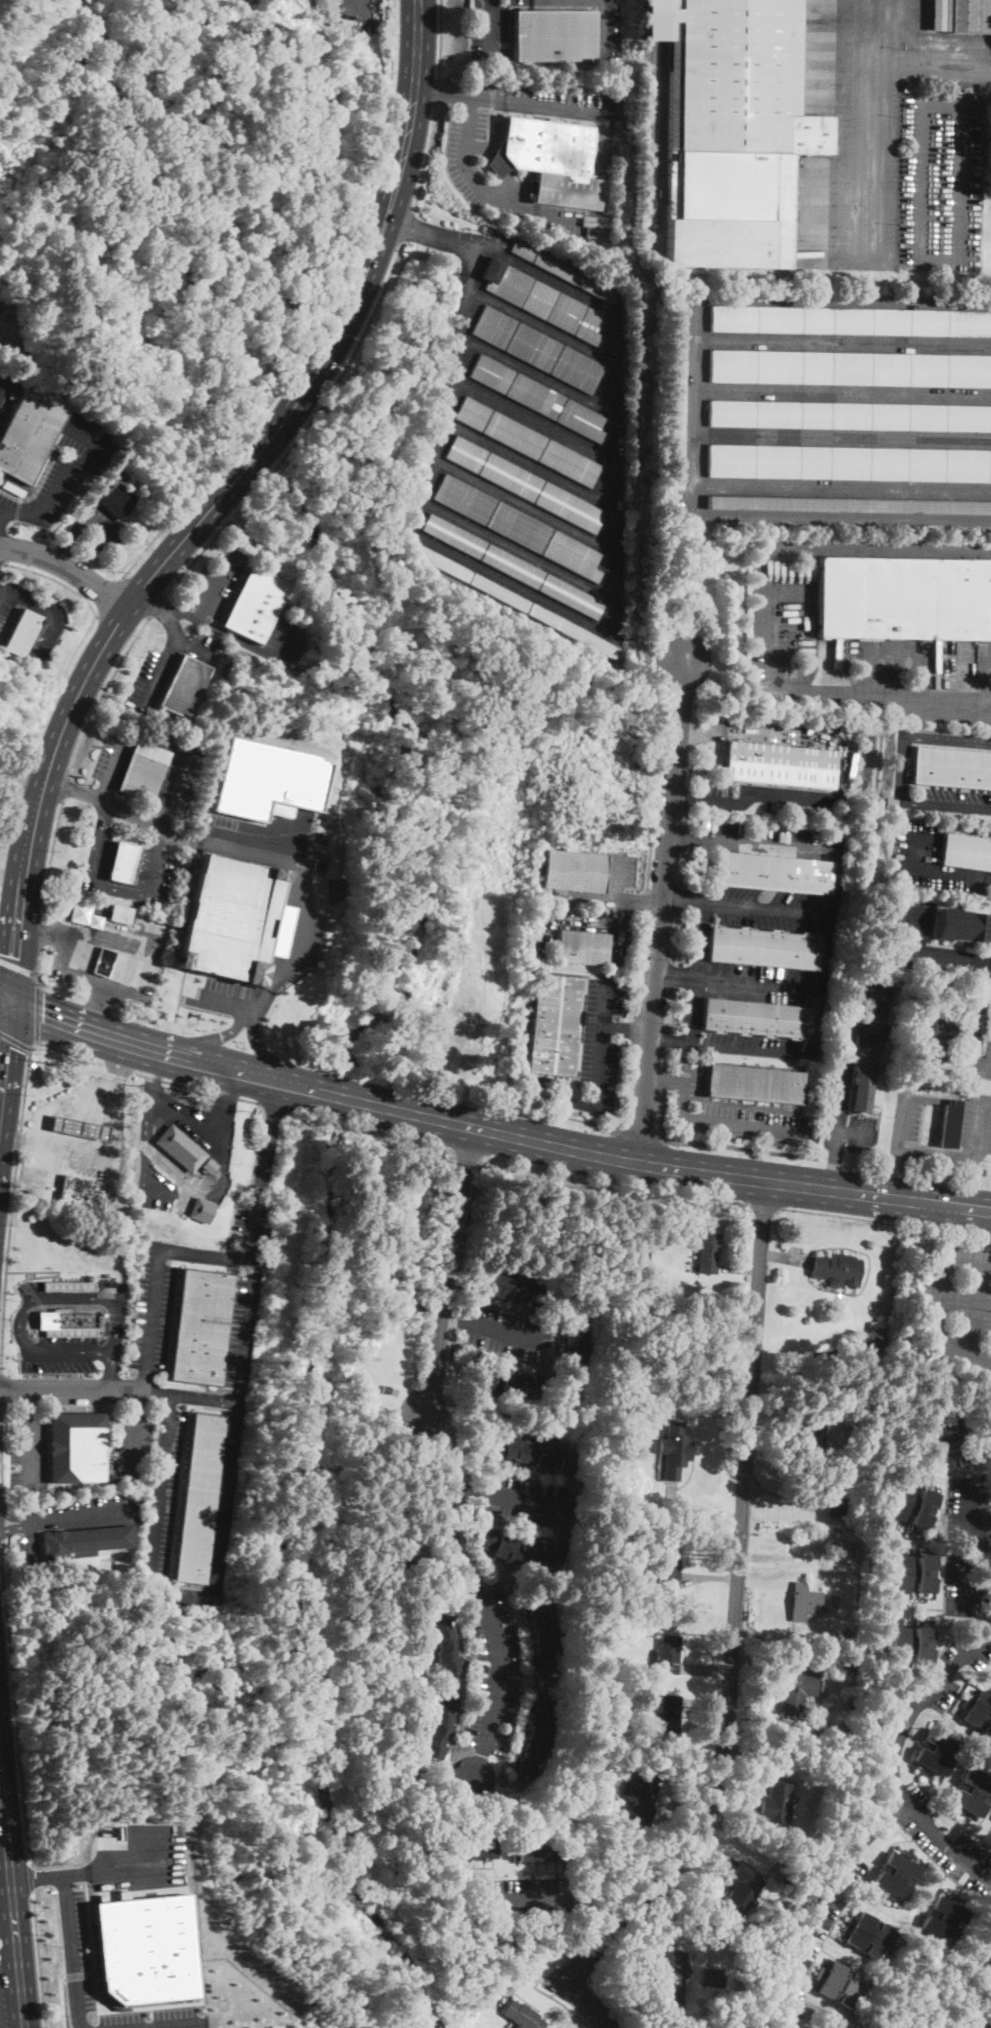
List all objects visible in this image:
building: (960, 15)
road: (492, 28)
road: (605, 28)
parking lot: (488, 33)
building: (554, 36)
road: (441, 40)
road: (930, 70)
road: (457, 85)
railway: (665, 88)
building: (905, 89)
road: (437, 92)
road: (441, 93)
road: (978, 104)
road: (539, 106)
building: (623, 115)
railway: (650, 125)
building: (732, 130)
road: (600, 142)
road: (493, 155)
road: (426, 156)
parking lot: (457, 159)
building: (551, 161)
road: (467, 169)
parking lot: (940, 183)
road: (406, 225)
road: (961, 258)
building: (564, 272)
building: (542, 300)
road: (318, 316)
building: (850, 322)
building: (537, 350)
road: (463, 352)
building: (850, 368)
road: (1, 386)
building: (674, 389)
parking lot: (8, 390)
building: (538, 397)
building: (849, 416)
road: (299, 429)
building: (28, 440)
building: (527, 442)
building: (849, 463)
parking lot: (63, 471)
building: (131, 478)
road: (67, 480)
building: (524, 484)
road: (96, 489)
road: (215, 499)
building: (117, 500)
building: (849, 504)
parking lot: (100, 524)
road: (99, 527)
building: (518, 527)
road: (68, 537)
road: (213, 545)
road: (882, 551)
road: (0, 562)
building: (512, 566)
road: (67, 568)
road: (52, 579)
parking lot: (217, 581)
road: (212, 582)
parking lot: (784, 590)
road: (106, 594)
road: (14, 596)
building: (904, 598)
building: (516, 602)
road: (156, 604)
building: (254, 606)
road: (53, 622)
road: (206, 623)
road: (23, 626)
building: (22, 633)
road: (22, 635)
road: (281, 640)
parking lot: (285, 640)
road: (19, 649)
road: (193, 649)
road: (911, 649)
road: (163, 663)
road: (984, 680)
road: (55, 685)
parking lot: (147, 687)
building: (184, 687)
road: (814, 690)
road: (102, 691)
road: (915, 735)
parking lot: (111, 757)
road: (37, 762)
building: (779, 765)
building: (951, 765)
road: (23, 766)
road: (112, 768)
road: (11, 770)
building: (143, 770)
building: (267, 778)
road: (18, 785)
road: (66, 786)
road: (173, 786)
road: (19, 794)
road: (753, 796)
parking lot: (765, 798)
parking lot: (954, 800)
road: (945, 803)
building: (278, 809)
road: (688, 818)
road: (8, 821)
road: (683, 836)
road: (685, 837)
road: (96, 838)
parking lot: (761, 839)
road: (126, 847)
road: (799, 848)
road: (1, 851)
building: (965, 851)
road: (248, 852)
road: (50, 856)
road: (123, 857)
road: (12, 860)
parking lot: (930, 860)
building: (123, 862)
road: (153, 862)
road: (122, 865)
road: (650, 865)
road: (683, 866)
building: (574, 871)
building: (772, 871)
road: (938, 872)
road: (116, 889)
road: (680, 898)
road: (616, 899)
road: (643, 901)
road: (646, 901)
road: (683, 901)
road: (770, 908)
parking lot: (776, 909)
road: (661, 910)
building: (80, 912)
building: (120, 913)
building: (231, 917)
parking lot: (913, 923)
building: (961, 924)
building: (282, 930)
road: (41, 931)
road: (676, 937)
parking lot: (698, 939)
building: (582, 947)
building: (764, 948)
road: (926, 953)
traffic signals: (12, 955)
building: (104, 960)
road: (640, 964)
road: (17, 966)
road: (35, 967)
road: (68, 968)
road: (199, 972)
road: (697, 972)
road: (672, 976)
road: (738, 981)
road: (178, 995)
road: (2, 996)
parking lot: (231, 998)
road: (228, 1002)
road: (2, 1006)
road: (670, 1010)
traffic signals: (43, 1012)
road: (37, 1014)
building: (755, 1018)
road: (62, 1019)
road: (853, 1021)
building: (554, 1025)
building: (943, 1028)
road: (624, 1029)
road: (633, 1029)
building: (974, 1029)
road: (667, 1039)
road: (204, 1040)
road: (15, 1041)
road: (38, 1041)
road: (598, 1043)
parking lot: (601, 1044)
road: (137, 1045)
parking lot: (753, 1045)
traffic signals: (10, 1046)
road: (725, 1046)
road: (30, 1051)
road: (117, 1058)
road: (263, 1058)
road: (968, 1058)
road: (665, 1060)
parking lot: (985, 1062)
road: (7, 1067)
road: (117, 1067)
road: (152, 1075)
building: (862, 1081)
road: (661, 1084)
road: (664, 1084)
building: (755, 1084)
parking lot: (838, 1085)
road: (195, 1088)
road: (63, 1100)
road: (274, 1106)
parking lot: (732, 1112)
parking lot: (906, 1113)
road: (117, 1117)
road: (185, 1119)
road: (899, 1122)
parking lot: (977, 1123)
road: (458, 1124)
road: (608, 1124)
road: (721, 1124)
building: (950, 1125)
building: (78, 1128)
gas station: (78, 1128)
road: (369, 1129)
road: (641, 1133)
road: (857, 1133)
road: (150, 1134)
parking lot: (861, 1134)
road: (270, 1135)
road: (20, 1141)
road: (19, 1142)
road: (719, 1145)
road: (52, 1147)
building: (179, 1148)
road: (219, 1152)
road: (468, 1152)
road: (943, 1157)
parking lot: (65, 1164)
building: (208, 1167)
road: (834, 1169)
road: (618, 1181)
road: (155, 1184)
parking lot: (157, 1189)
building: (81, 1193)
road: (878, 1197)
road: (767, 1207)
building: (201, 1211)
road: (887, 1221)
road: (254, 1223)
building: (708, 1253)
road: (207, 1254)
building: (639, 1256)
road: (7, 1261)
building: (836, 1269)
road: (445, 1271)
road: (740, 1271)
building: (69, 1286)
parking lot: (247, 1287)
building: (515, 1290)
parking lot: (32, 1294)
road: (937, 1303)
road: (29, 1305)
parking lot: (958, 1305)
parking lot: (153, 1306)
road: (973, 1308)
road: (153, 1309)
road: (452, 1318)
building: (66, 1324)
road: (247, 1324)
building: (201, 1327)
road: (504, 1331)
parking lot: (506, 1334)
building: (575, 1343)
building: (877, 1349)
parking lot: (60, 1355)
road: (110, 1372)
road: (144, 1381)
building: (512, 1384)
road: (119, 1389)
building: (386, 1389)
road: (1, 1391)
road: (239, 1394)
road: (135, 1400)
road: (171, 1400)
road: (26, 1402)
road: (237, 1409)
parking lot: (129, 1439)
road: (131, 1440)
building: (812, 1440)
building: (945, 1447)
building: (76, 1448)
road: (27, 1450)
building: (674, 1450)
parking lot: (27, 1453)
building: (528, 1453)
road: (2, 1459)
road: (467, 1488)
building: (199, 1498)
road: (449, 1500)
parking lot: (162, 1501)
road: (523, 1501)
parking lot: (526, 1504)
road: (29, 1505)
building: (912, 1505)
building: (836, 1506)
road: (698, 1513)
road: (15, 1516)
parking lot: (76, 1516)
road: (75, 1517)
road: (974, 1521)
road: (3, 1525)
road: (14, 1527)
road: (31, 1535)
building: (83, 1541)
building: (520, 1548)
building: (846, 1549)
building: (666, 1565)
building: (913, 1573)
building: (602, 1574)
road: (712, 1577)
road: (182, 1592)
building: (805, 1601)
road: (737, 1603)
building: (542, 1636)
building: (444, 1640)
building: (910, 1644)
building: (667, 1654)
road: (498, 1667)
parking lot: (493, 1670)
road: (706, 1670)
building: (798, 1692)
building: (593, 1700)
road: (707, 1702)
road: (15, 1705)
building: (670, 1713)
building: (979, 1713)
building: (852, 1717)
building: (440, 1725)
building: (852, 1730)
building: (535, 1738)
building: (936, 1752)
road: (893, 1759)
road: (477, 1765)
road: (687, 1789)
building: (972, 1794)
building: (640, 1797)
building: (777, 1804)
building: (792, 1833)
building: (467, 1848)
building: (543, 1850)
parking lot: (139, 1861)
road: (93, 1871)
building: (896, 1875)
road: (31, 1878)
building: (745, 1888)
road: (12, 1896)
parking lot: (522, 1896)
road: (528, 1896)
road: (818, 1903)
road: (595, 1912)
building: (943, 1920)
building: (868, 1936)
building: (145, 1948)
road: (71, 1952)
building: (984, 1953)
road: (39, 1960)
building: (711, 1975)
road: (530, 1976)
parking lot: (79, 1979)
building: (671, 1979)
building: (840, 1985)
road: (557, 1999)
road: (62, 2000)
road: (589, 2004)
building: (522, 2016)
road: (167, 2024)
building: (731, 2027)
building: (835, 2027)
building: (990, 2027)

